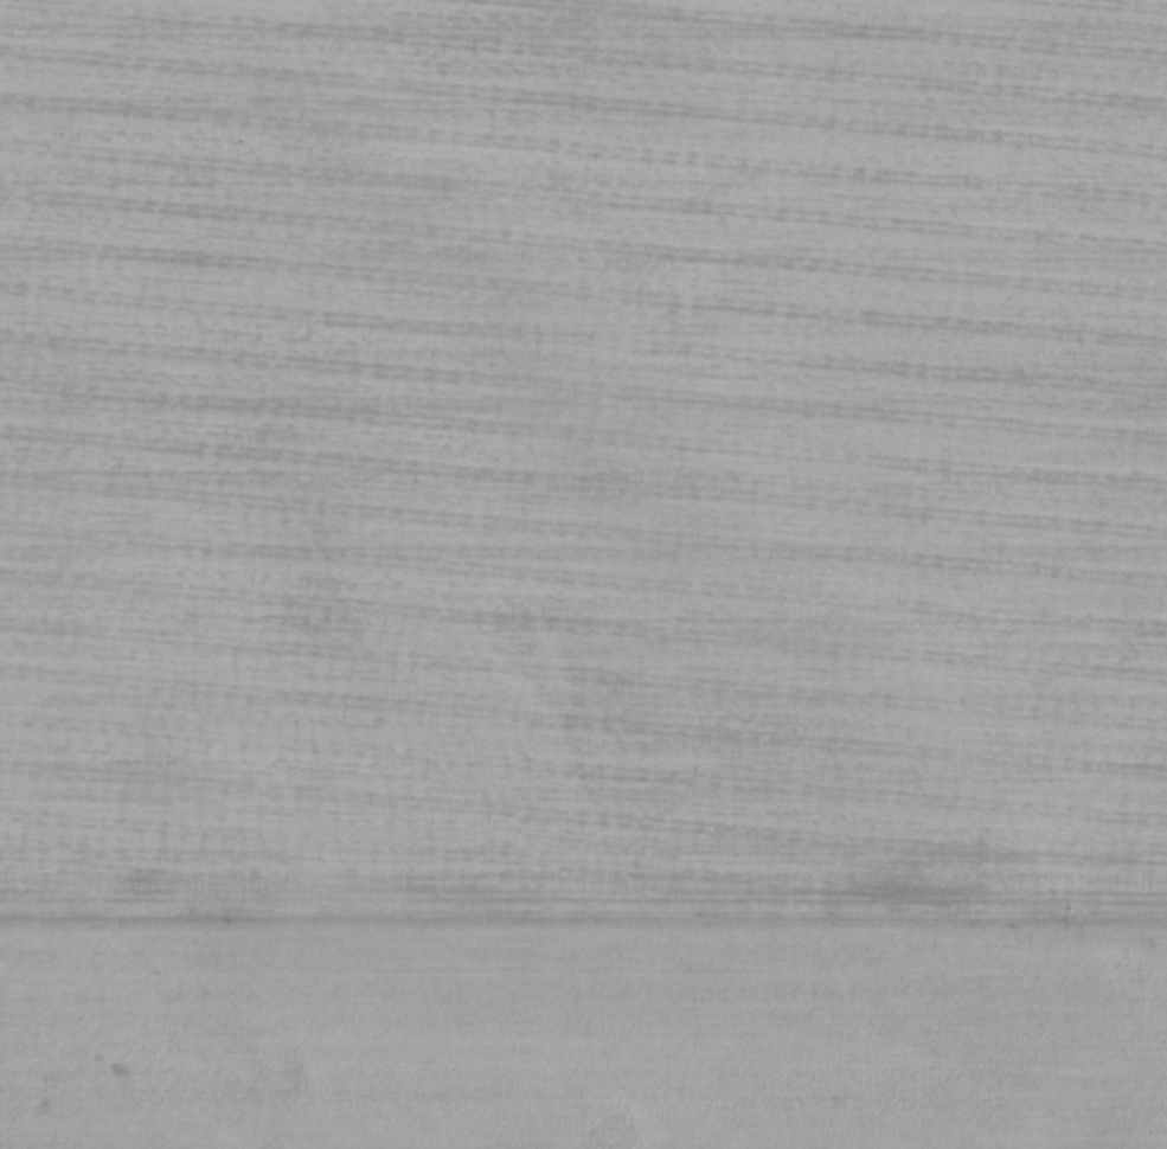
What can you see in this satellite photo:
crop: (583, 574)

